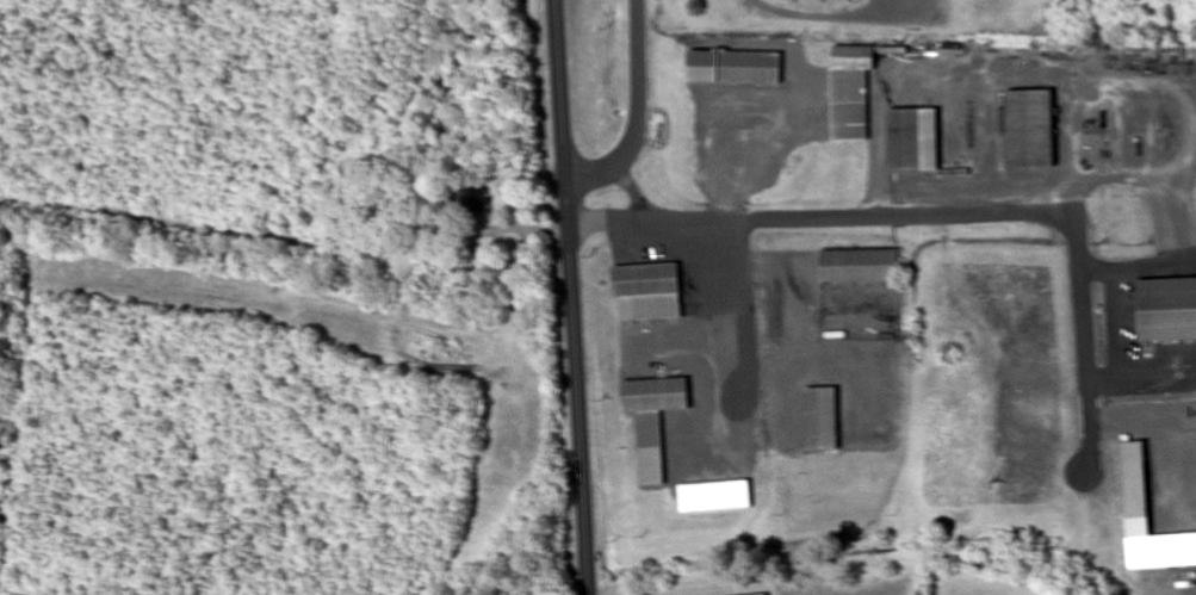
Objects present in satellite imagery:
building: (738, 72)
building: (850, 107)
road: (639, 113)
building: (1029, 130)
building: (917, 143)
road: (634, 192)
road: (612, 218)
road: (989, 219)
building: (401, 259)
building: (862, 269)
building: (647, 292)
road: (571, 297)
building: (1167, 312)
building: (656, 398)
building: (823, 421)
building: (1134, 481)
building: (717, 498)

